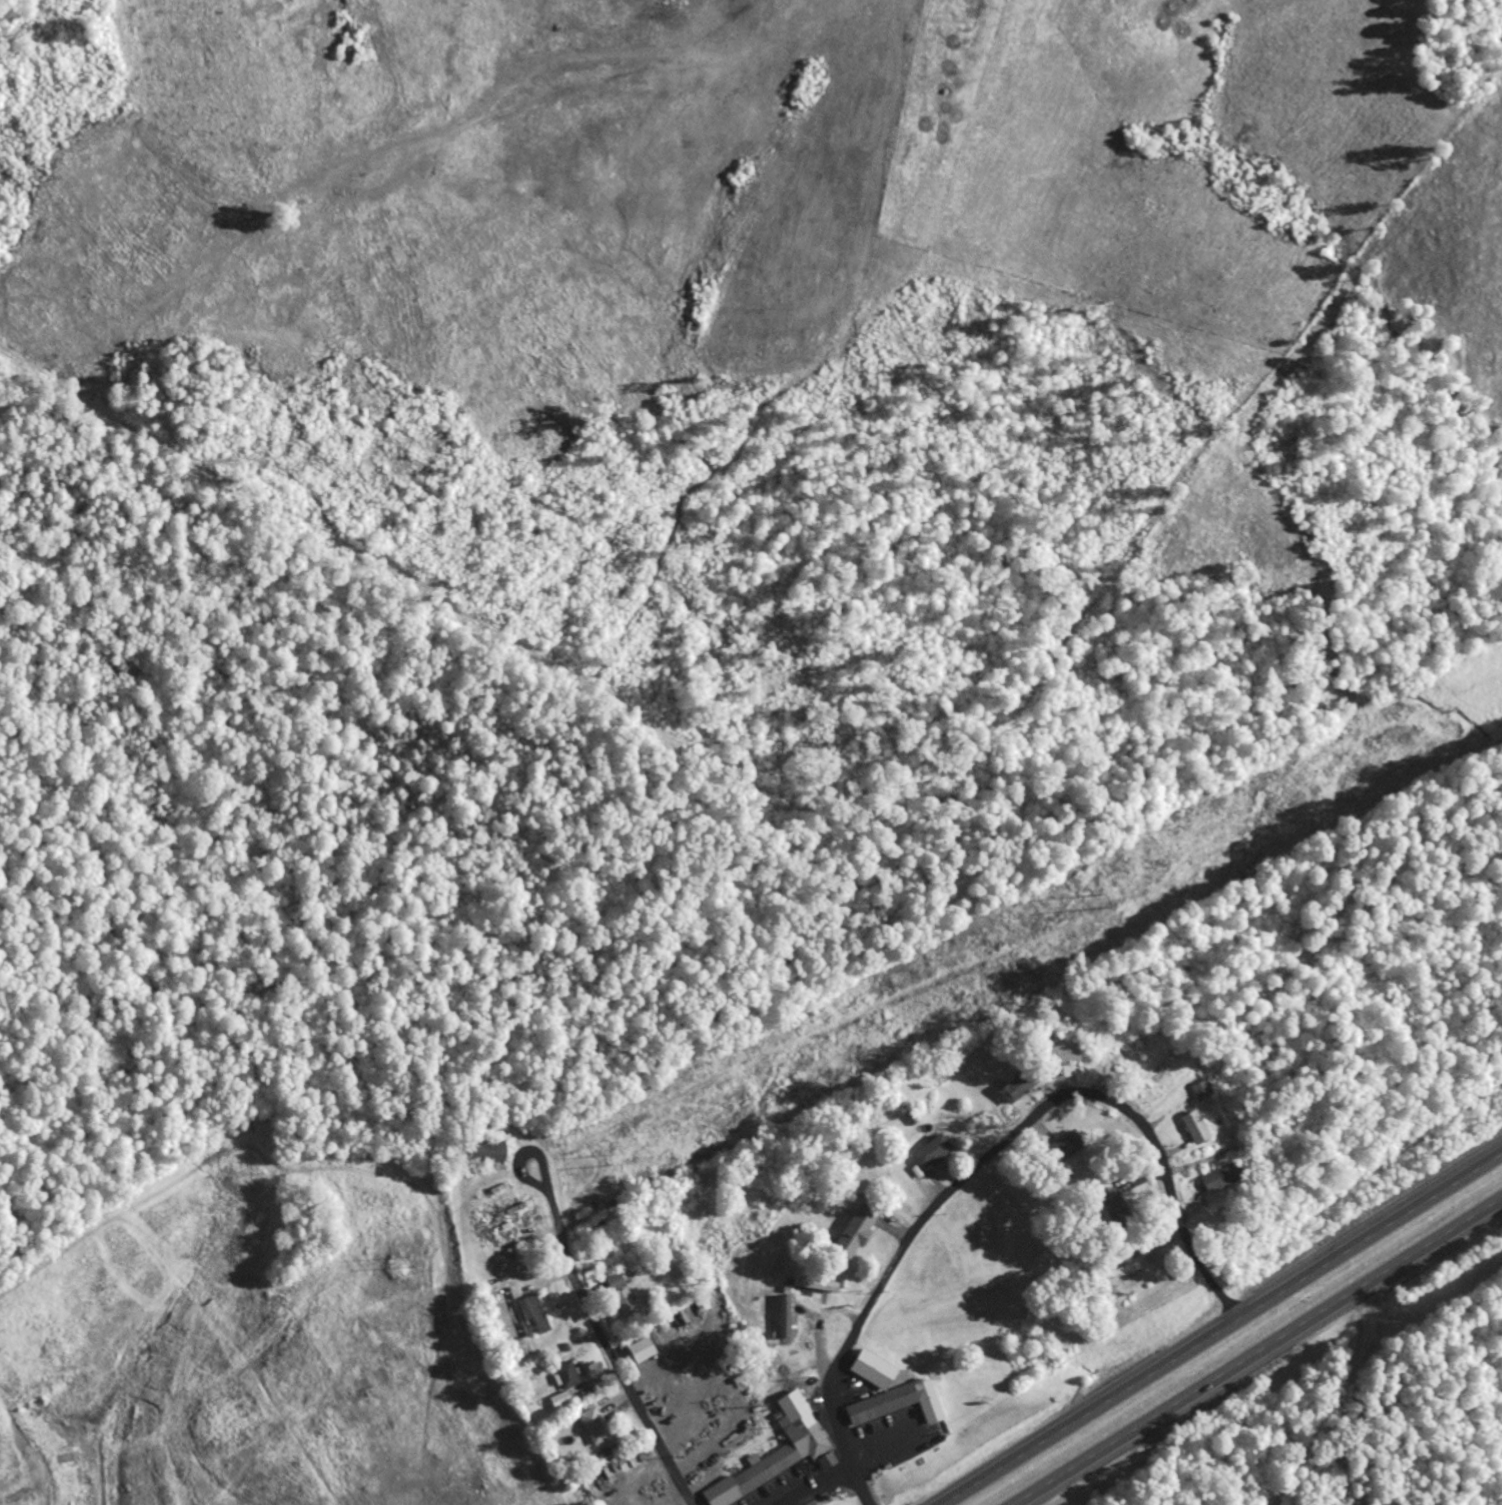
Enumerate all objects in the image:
power tower: (1099, 902)
building: (1063, 1054)
building: (1020, 1081)
building: (1198, 1130)
building: (1071, 1146)
building: (486, 1150)
building: (933, 1155)
power tower: (604, 1161)
building: (1226, 1179)
road: (1173, 1190)
building: (1118, 1203)
building: (612, 1217)
building: (859, 1234)
power tower: (410, 1263)
road: (890, 1266)
building: (1128, 1273)
building: (623, 1300)
building: (784, 1313)
building: (534, 1316)
road: (1221, 1329)
building: (784, 1332)
road: (598, 1343)
road: (1261, 1353)
building: (564, 1371)
building: (900, 1371)
building: (653, 1375)
building: (560, 1398)
building: (880, 1402)
building: (593, 1424)
building: (780, 1461)
road: (823, 1487)

